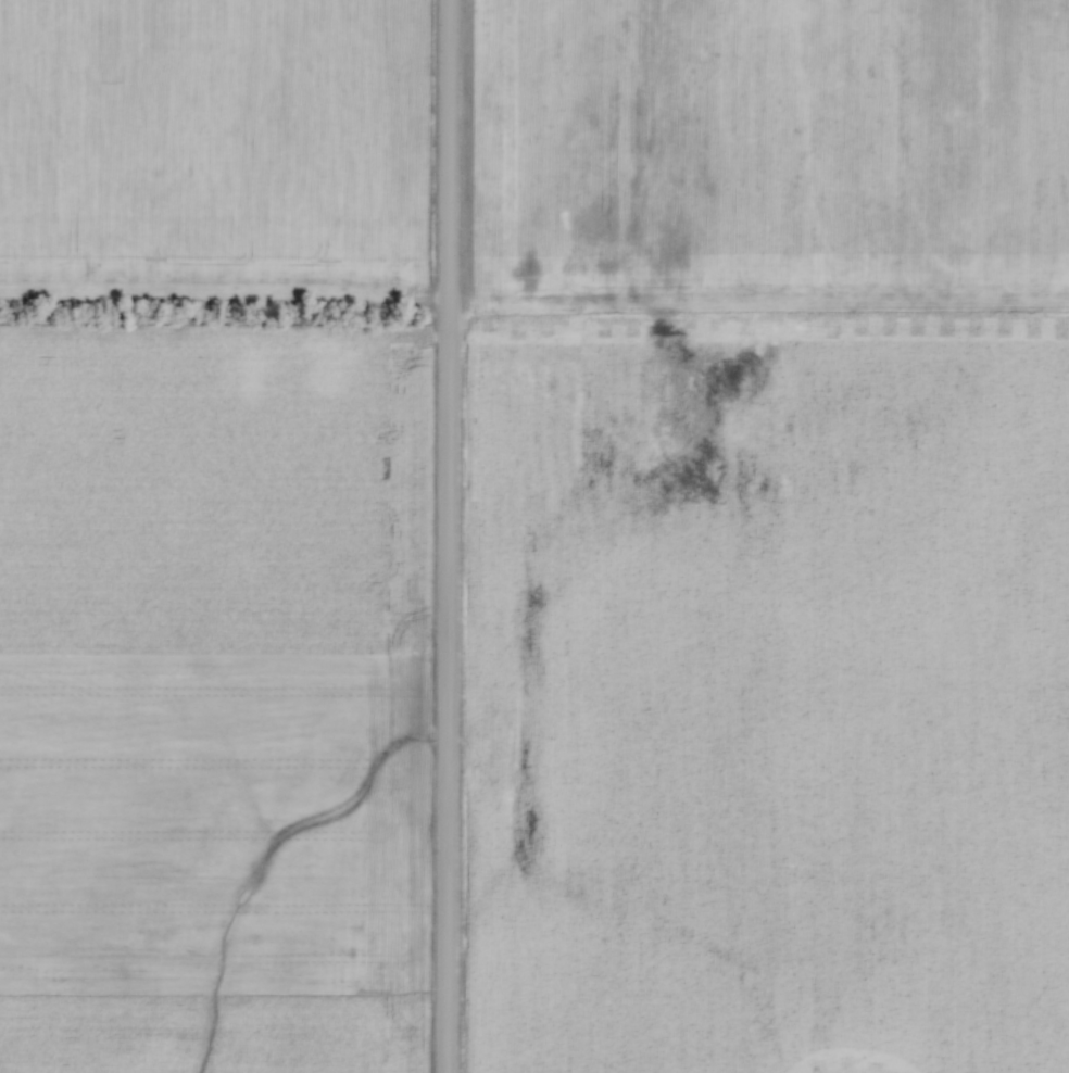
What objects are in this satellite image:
road: (447, 536)

